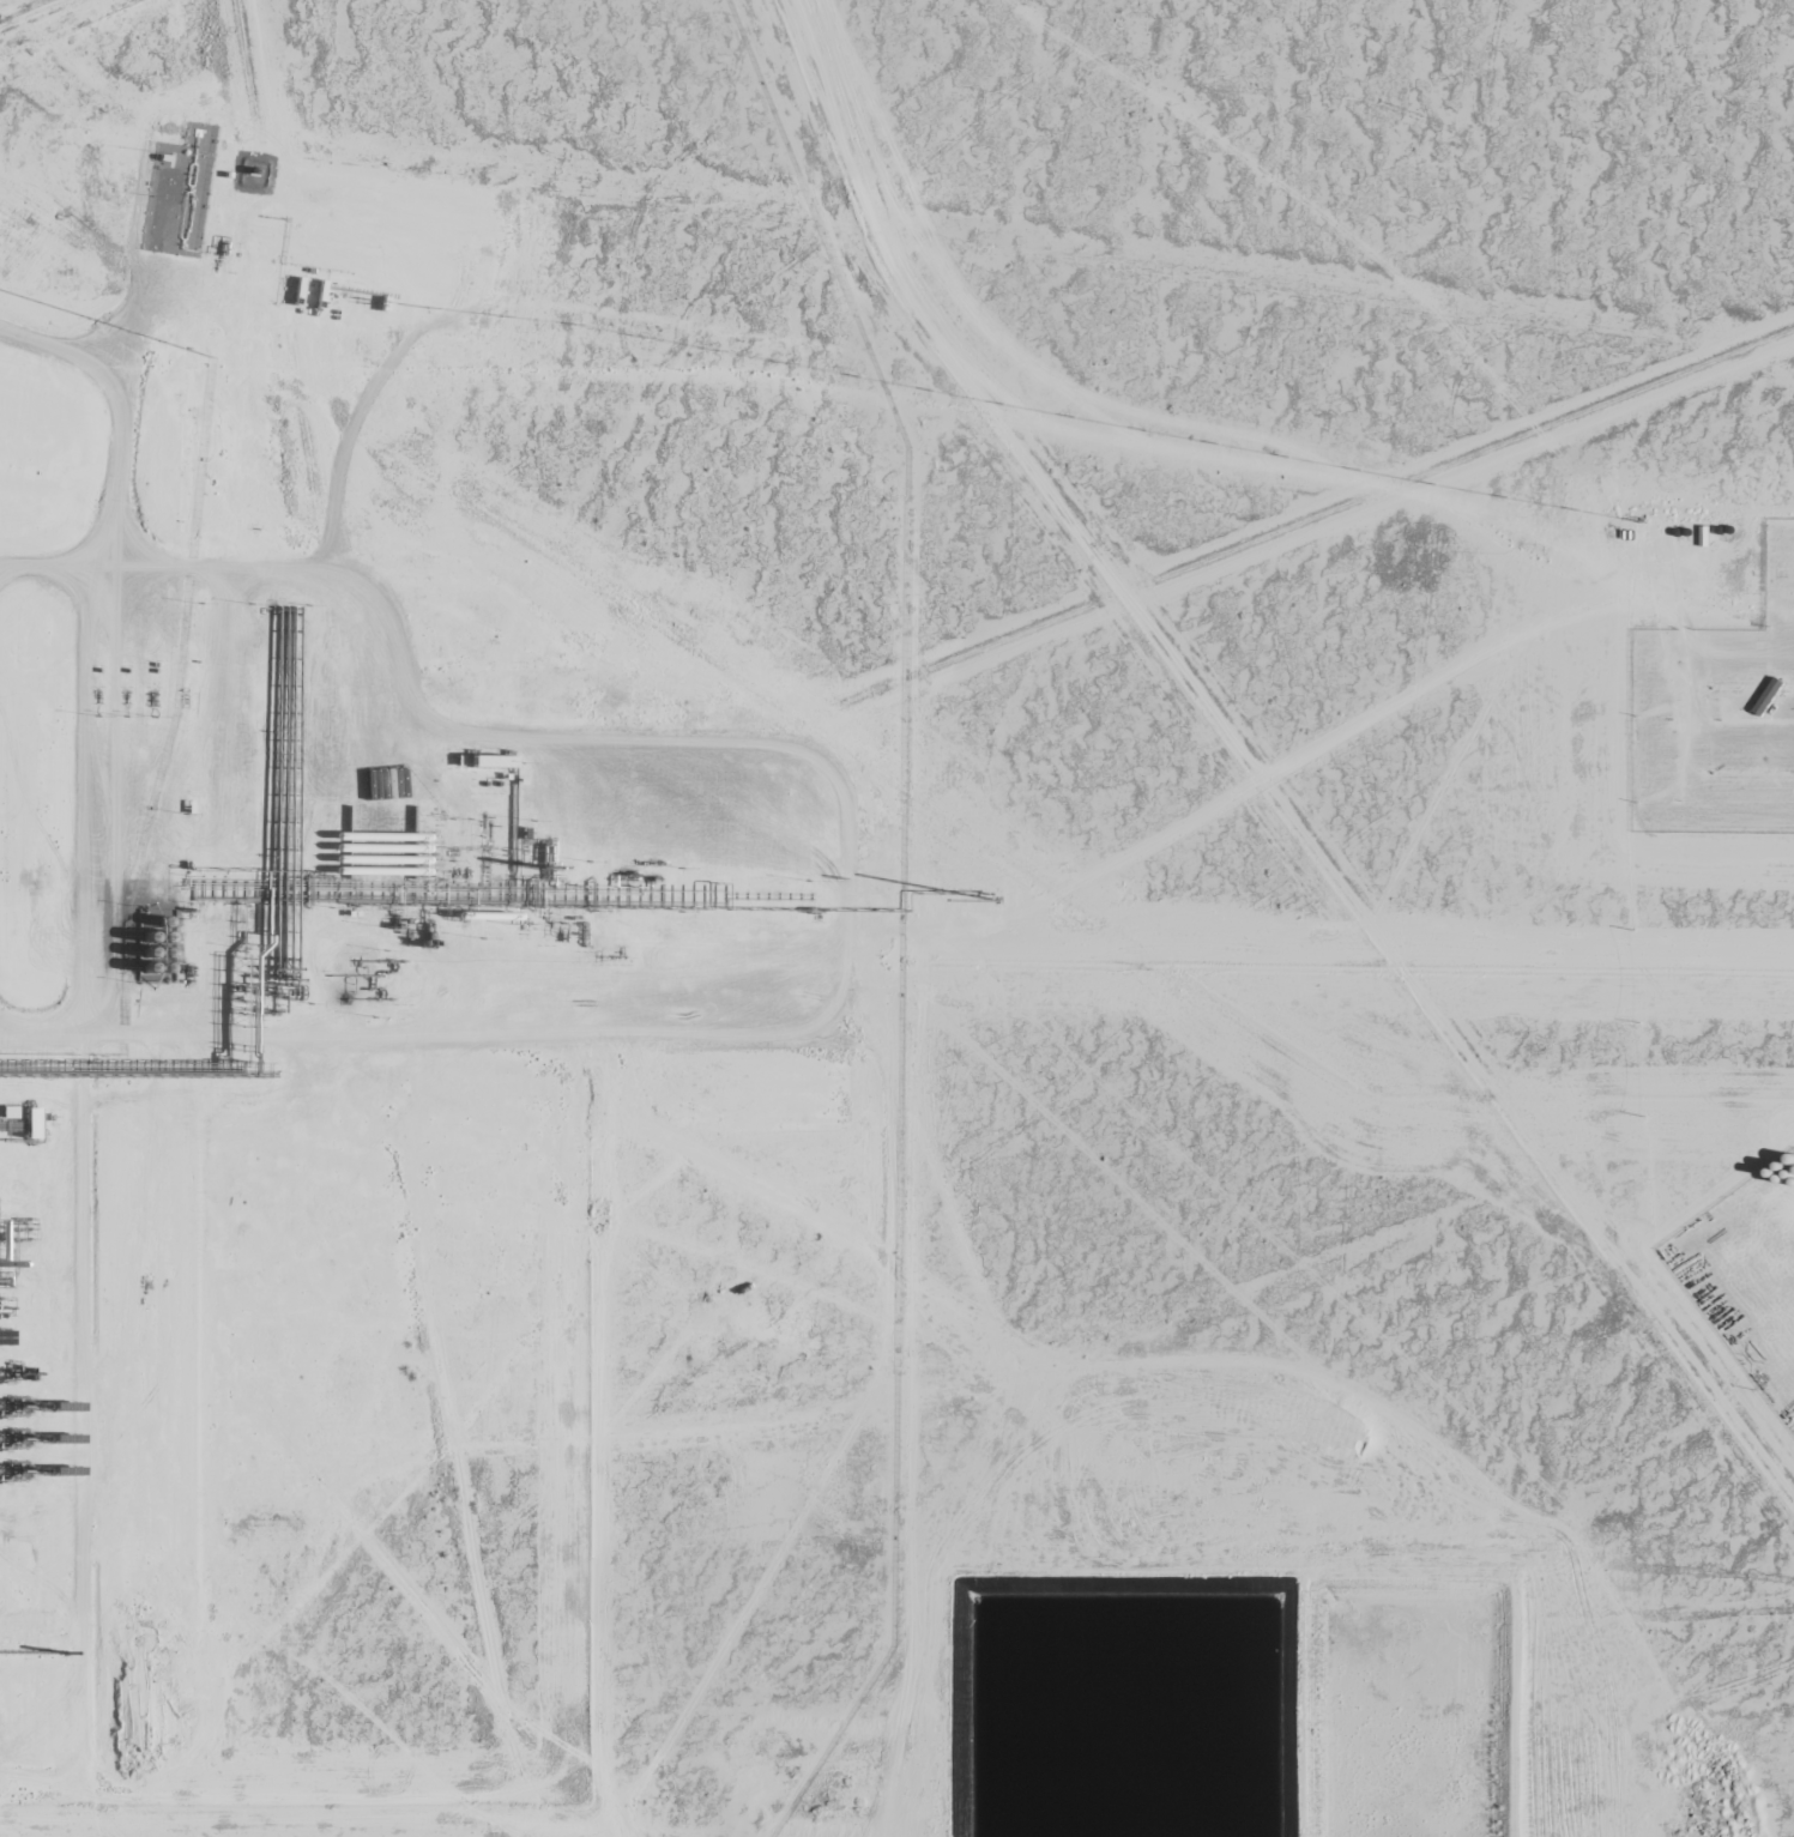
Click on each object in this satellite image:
building: (491, 762)

